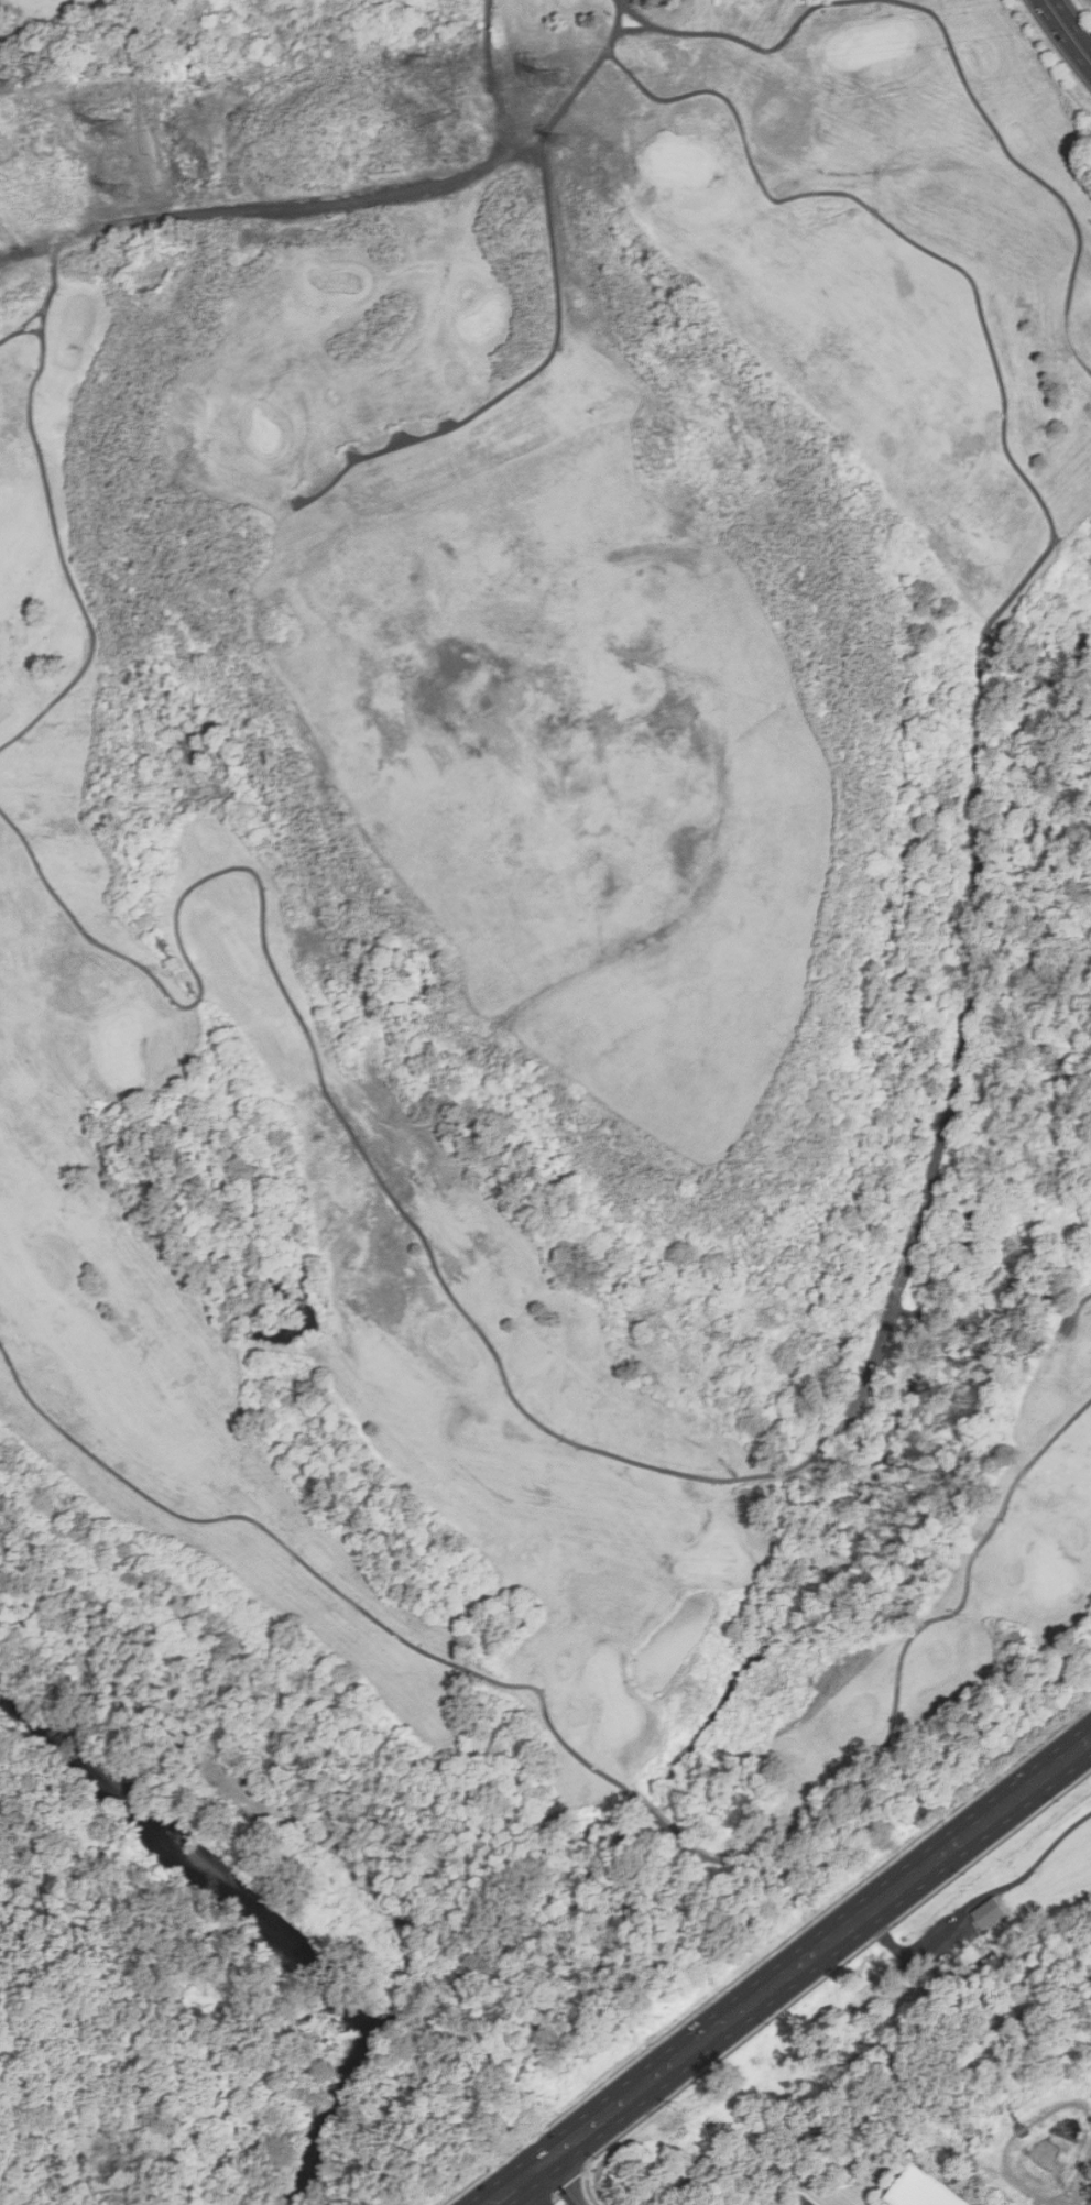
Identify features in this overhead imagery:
park: (1087, 6)
road: (636, 29)
road: (1069, 29)
road: (751, 45)
power tower: (558, 79)
road: (487, 80)
power tower: (109, 131)
power tower: (565, 144)
park: (677, 163)
road: (1027, 168)
power tower: (118, 193)
road: (277, 206)
road: (901, 217)
road: (14, 233)
road: (48, 288)
road: (567, 312)
park: (372, 484)
road: (73, 535)
road: (999, 647)
road: (1046, 680)
road: (1088, 695)
park: (545, 990)
park: (123, 1052)
road: (1082, 1308)
road: (625, 1459)
road: (317, 1558)
park: (717, 1558)
park: (1041, 1578)
road: (908, 1677)
park: (608, 1701)
river: (103, 1781)
road: (652, 1806)
building: (990, 1913)
river: (290, 1953)
road: (767, 1955)
road: (837, 1971)
road: (790, 1974)
river: (332, 2122)
road: (568, 2180)
road: (560, 2184)
building: (926, 2190)
road: (525, 2194)

